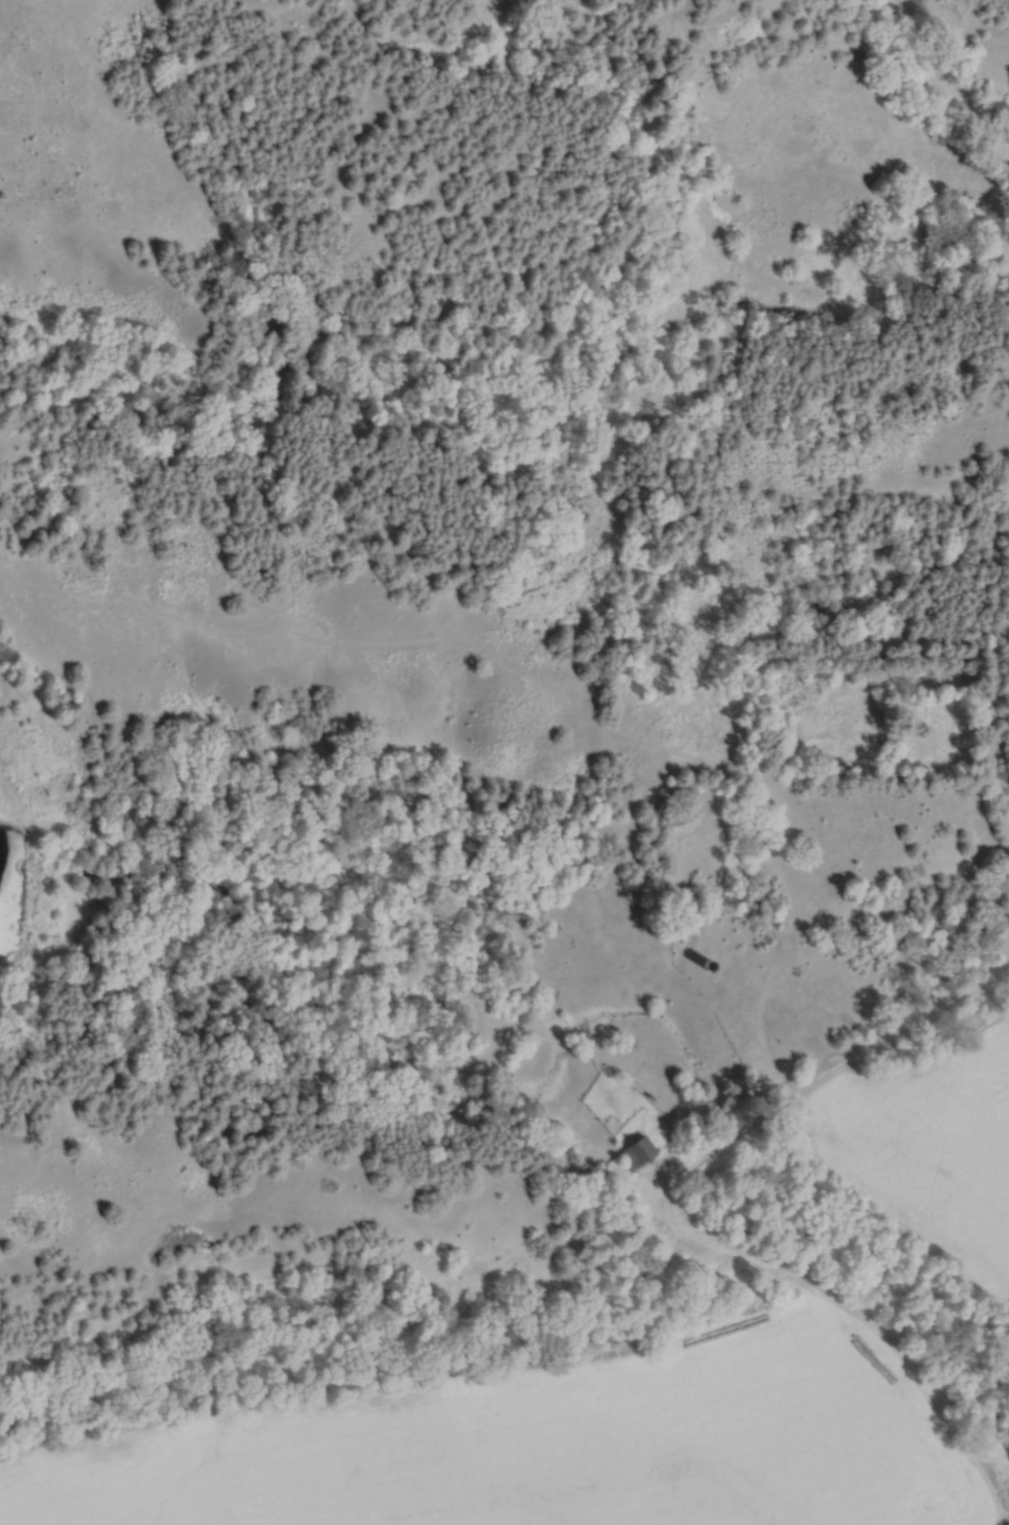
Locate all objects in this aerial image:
road: (937, 86)
building: (706, 965)
road: (823, 1079)
building: (637, 1152)

